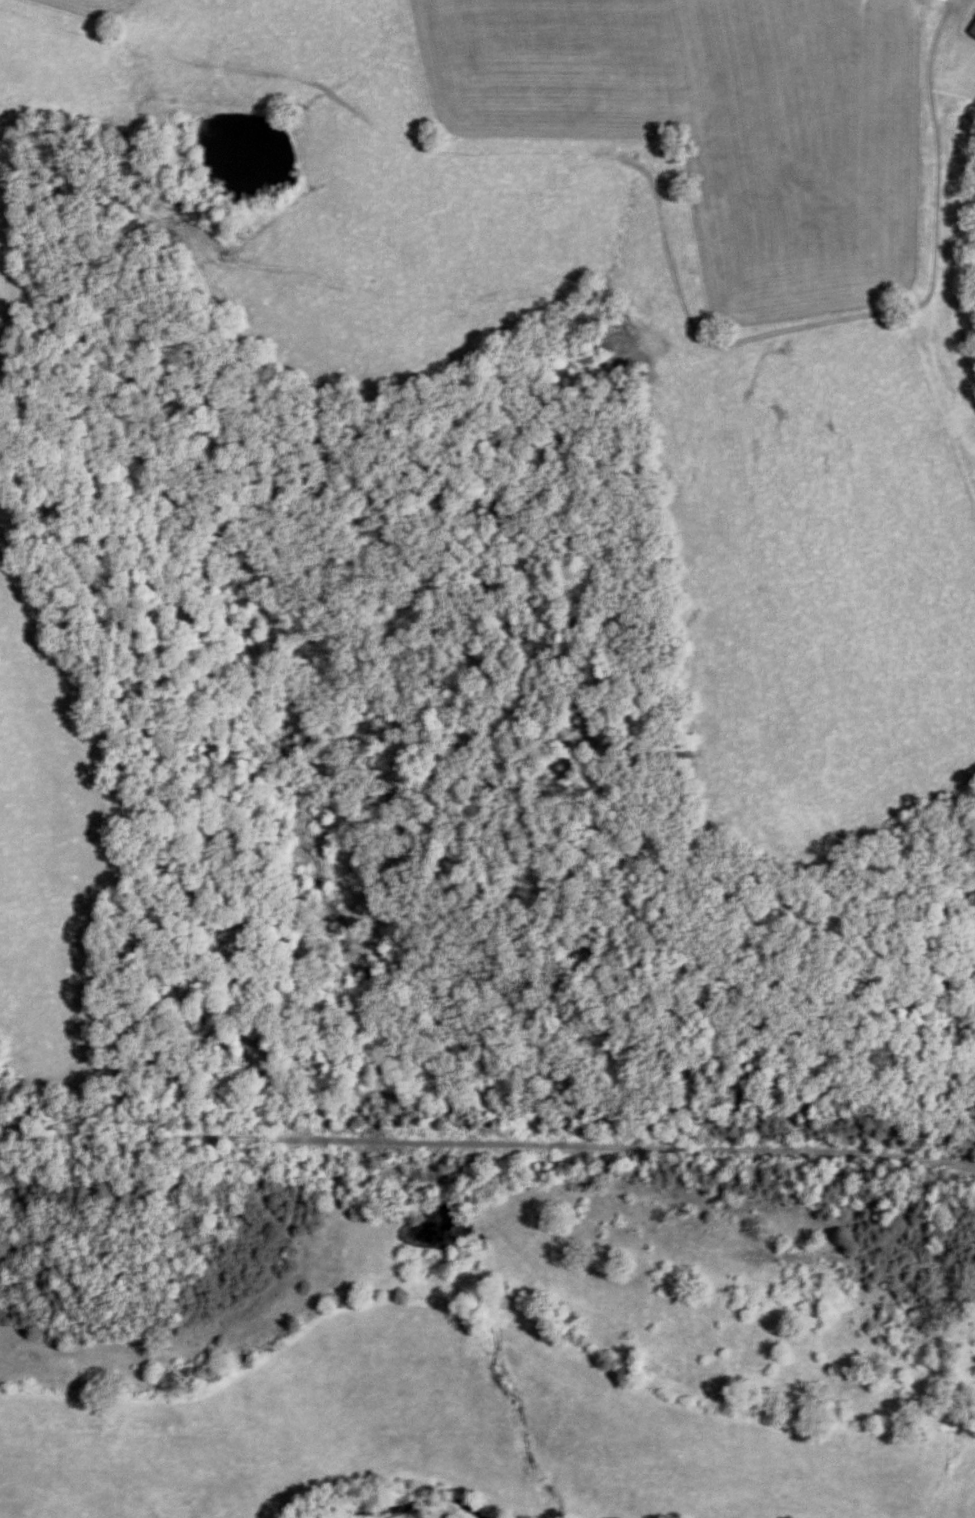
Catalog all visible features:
building: (973, 31)

